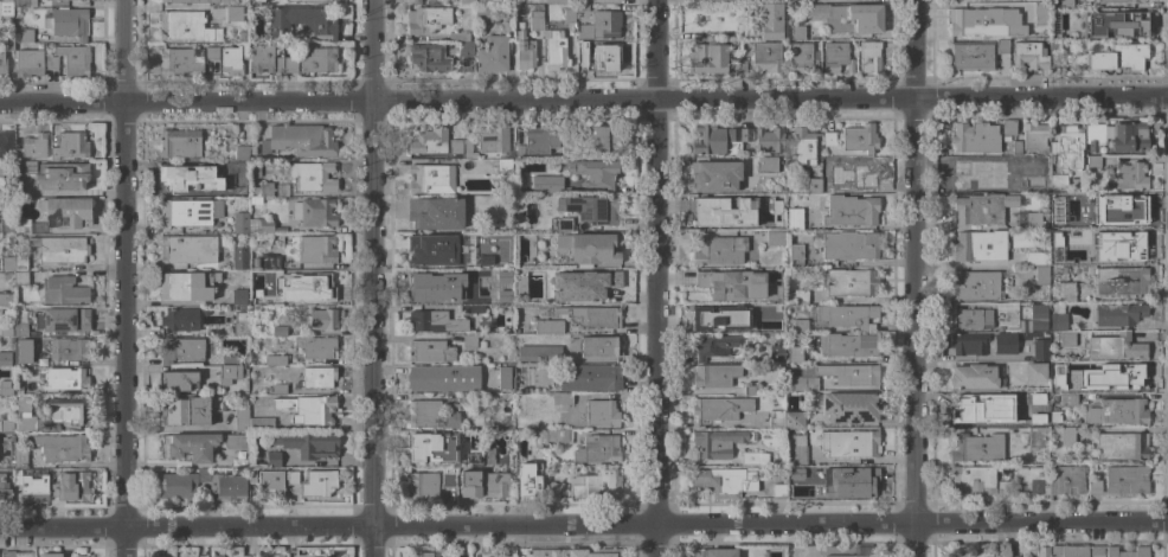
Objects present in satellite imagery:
building: (57, 0)
building: (314, 0)
building: (721, 0)
building: (798, 0)
building: (981, 0)
building: (191, 1)
building: (479, 1)
building: (556, 1)
building: (1122, 1)
building: (25, 2)
building: (277, 2)
building: (416, 2)
building: (81, 4)
building: (1065, 4)
building: (582, 8)
building: (6, 12)
building: (482, 15)
building: (569, 15)
building: (1066, 15)
building: (845, 17)
building: (302, 20)
building: (424, 20)
building: (535, 20)
building: (770, 21)
building: (976, 21)
building: (68, 23)
building: (186, 26)
building: (601, 26)
building: (1121, 26)
building: (1086, 28)
building: (797, 32)
building: (25, 36)
building: (243, 36)
building: (1052, 44)
building: (8, 45)
building: (1089, 45)
building: (1001, 46)
building: (556, 50)
building: (579, 50)
road: (655, 50)
road: (911, 50)
road: (370, 51)
building: (524, 51)
road: (122, 52)
building: (211, 53)
building: (493, 55)
building: (603, 55)
building: (464, 56)
building: (970, 56)
building: (1029, 56)
building: (708, 57)
building: (869, 57)
building: (1117, 57)
building: (261, 58)
building: (428, 58)
building: (765, 58)
building: (835, 58)
building: (73, 59)
building: (232, 59)
building: (802, 59)
building: (312, 60)
building: (50, 62)
building: (180, 62)
building: (2, 63)
building: (28, 63)
building: (278, 65)
building: (739, 65)
road: (583, 101)
building: (1008, 127)
building: (745, 134)
building: (733, 135)
building: (1093, 136)
building: (1128, 136)
building: (1034, 137)
building: (829, 139)
building: (860, 139)
building: (975, 139)
building: (300, 140)
building: (492, 140)
building: (539, 140)
building: (708, 140)
building: (769, 140)
building: (429, 142)
building: (592, 142)
building: (179, 143)
building: (1067, 143)
building: (6, 145)
building: (71, 145)
building: (804, 145)
building: (31, 146)
building: (455, 147)
building: (1015, 148)
building: (468, 149)
building: (240, 152)
building: (519, 152)
building: (1092, 161)
building: (766, 165)
building: (502, 166)
building: (25, 167)
building: (240, 169)
building: (1, 171)
building: (254, 171)
building: (855, 172)
building: (978, 172)
building: (595, 173)
building: (708, 175)
building: (62, 177)
building: (313, 177)
building: (1128, 177)
building: (431, 179)
building: (190, 180)
building: (1058, 181)
building: (547, 184)
building: (813, 185)
building: (827, 185)
building: (1035, 185)
building: (2, 188)
building: (263, 190)
building: (779, 200)
building: (1066, 200)
building: (762, 201)
building: (590, 209)
building: (976, 209)
building: (851, 211)
building: (65, 212)
building: (188, 212)
building: (314, 212)
building: (1122, 212)
building: (435, 213)
building: (714, 215)
building: (794, 219)
building: (1033, 220)
building: (240, 223)
building: (560, 224)
building: (259, 225)
building: (6, 228)
building: (27, 228)
building: (775, 238)
building: (1119, 244)
building: (847, 245)
building: (980, 247)
building: (590, 248)
building: (59, 249)
building: (187, 249)
building: (316, 249)
building: (436, 250)
building: (718, 250)
building: (795, 255)
building: (239, 257)
building: (1035, 258)
building: (1066, 258)
building: (255, 262)
building: (272, 262)
building: (20, 263)
building: (6, 264)
building: (753, 274)
building: (1041, 275)
building: (476, 277)
building: (20, 278)
building: (1121, 282)
building: (595, 283)
building: (852, 283)
building: (314, 284)
building: (187, 286)
building: (976, 286)
building: (717, 288)
building: (63, 290)
building: (431, 290)
building: (1066, 292)
building: (801, 296)
building: (238, 297)
building: (277, 297)
building: (541, 297)
building: (6, 299)
building: (468, 300)
building: (470, 309)
building: (1118, 314)
building: (591, 315)
building: (1038, 316)
building: (713, 318)
building: (60, 319)
building: (179, 319)
building: (322, 319)
building: (834, 319)
building: (971, 319)
building: (1058, 319)
building: (435, 321)
building: (240, 324)
building: (759, 325)
building: (547, 326)
building: (6, 328)
road: (654, 328)
road: (912, 328)
building: (20, 329)
building: (278, 329)
road: (370, 329)
road: (122, 331)
building: (1066, 339)
building: (469, 341)
building: (482, 344)
building: (982, 344)
building: (852, 345)
building: (599, 346)
building: (713, 346)
building: (316, 347)
building: (1115, 347)
building: (70, 348)
building: (180, 350)
building: (1040, 350)
building: (24, 351)
building: (430, 351)
building: (776, 352)
building: (539, 353)
building: (795, 354)
building: (229, 357)
building: (5, 359)
building: (275, 360)
building: (1059, 370)
building: (1034, 371)
building: (229, 373)
building: (849, 373)
building: (714, 376)
building: (317, 377)
building: (973, 377)
building: (62, 378)
building: (442, 378)
building: (505, 378)
building: (591, 378)
building: (1118, 378)
building: (178, 382)
building: (802, 383)
building: (278, 388)
building: (6, 389)
building: (19, 390)
building: (750, 390)
building: (561, 398)
building: (1066, 398)
building: (468, 399)
building: (498, 399)
building: (1038, 401)
building: (852, 406)
building: (720, 408)
building: (68, 410)
building: (185, 410)
building: (314, 410)
building: (976, 410)
building: (1118, 411)
building: (601, 412)
building: (431, 415)
building: (25, 416)
building: (776, 418)
building: (242, 420)
building: (794, 420)
building: (259, 424)
building: (6, 425)
building: (471, 436)
building: (558, 436)
building: (1066, 436)
building: (1038, 437)
building: (539, 438)
building: (236, 441)
building: (719, 442)
building: (851, 443)
building: (308, 444)
building: (1121, 446)
building: (188, 447)
building: (976, 447)
building: (62, 448)
building: (597, 449)
building: (426, 450)
building: (798, 450)
building: (777, 457)
building: (20, 459)
building: (271, 459)
building: (753, 459)
building: (4, 461)
building: (804, 472)
building: (204, 475)
building: (252, 476)
building: (447, 480)
building: (729, 480)
building: (970, 480)
building: (1125, 480)
building: (853, 481)
building: (1029, 481)
building: (1067, 481)
building: (291, 482)
building: (527, 482)
building: (32, 484)
building: (270, 484)
building: (317, 484)
building: (483, 484)
building: (178, 485)
building: (226, 485)
building: (423, 485)
building: (595, 485)
building: (71, 486)
building: (1093, 487)
building: (1002, 488)
building: (4, 489)
building: (554, 491)
building: (778, 492)
road: (584, 523)
building: (1042, 551)
building: (1067, 551)
building: (1096, 551)
building: (573, 552)
building: (714, 552)
building: (1127, 552)
building: (17, 553)
building: (50, 555)
building: (424, 555)
building: (974, 555)
building: (1025, 555)
building: (81, 556)
building: (216, 556)
building: (245, 556)
building: (275, 556)
building: (492, 556)
building: (506, 556)
building: (852, 556)
building: (1014, 556)

